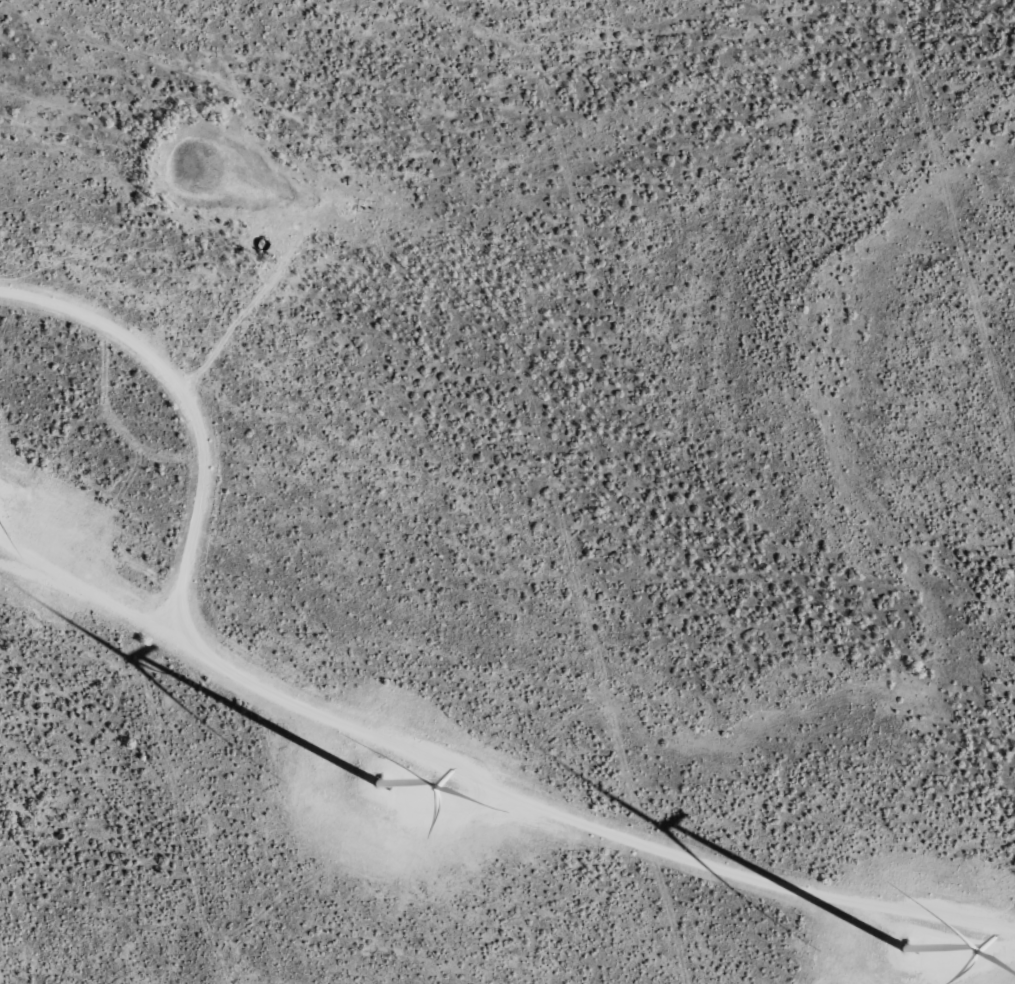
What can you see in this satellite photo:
road: (334, 190)
wind turbine: (390, 769)
wind turbine: (911, 950)

